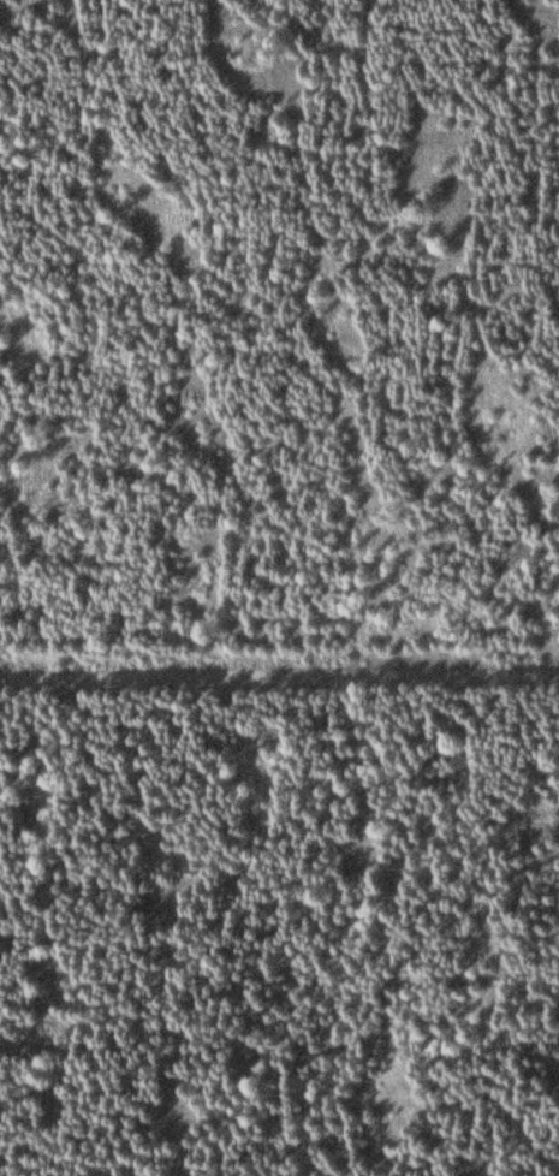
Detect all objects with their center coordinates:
road: (279, 670)

